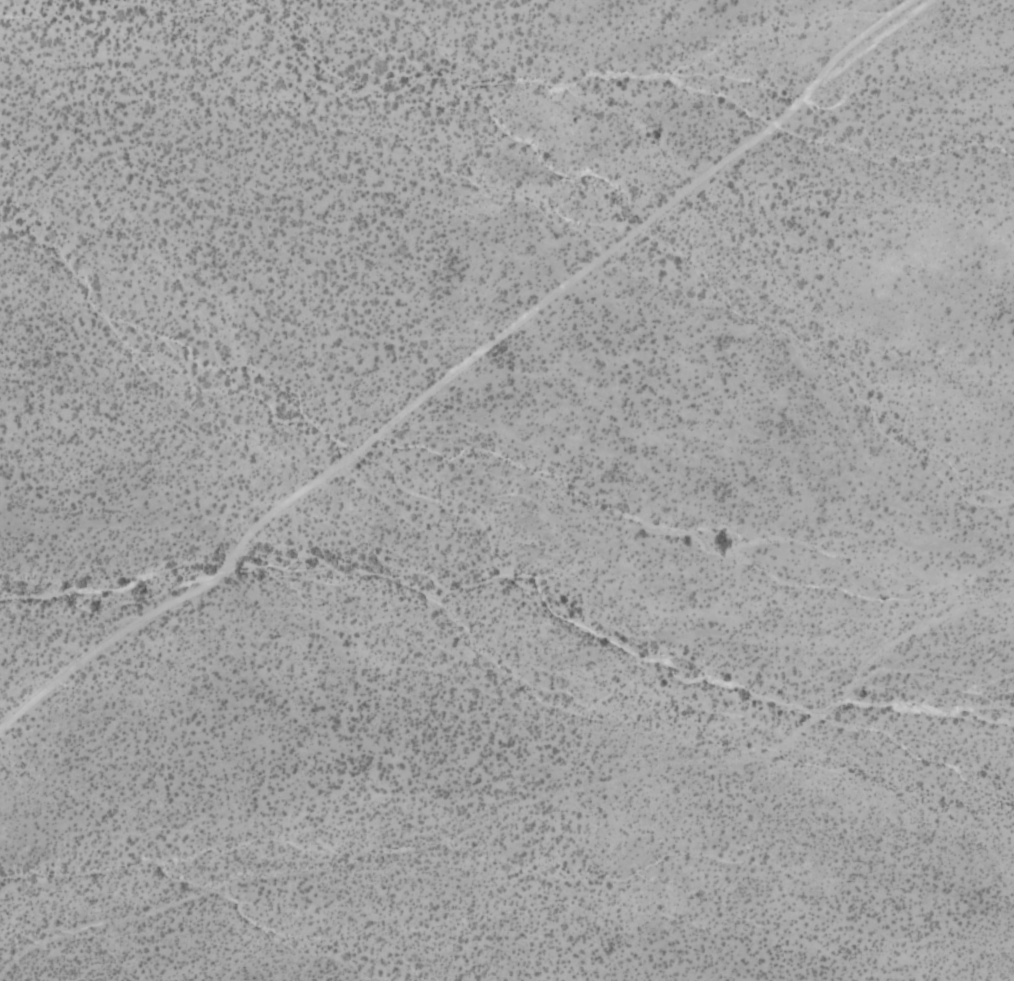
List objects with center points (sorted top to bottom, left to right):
road: (417, 287)

